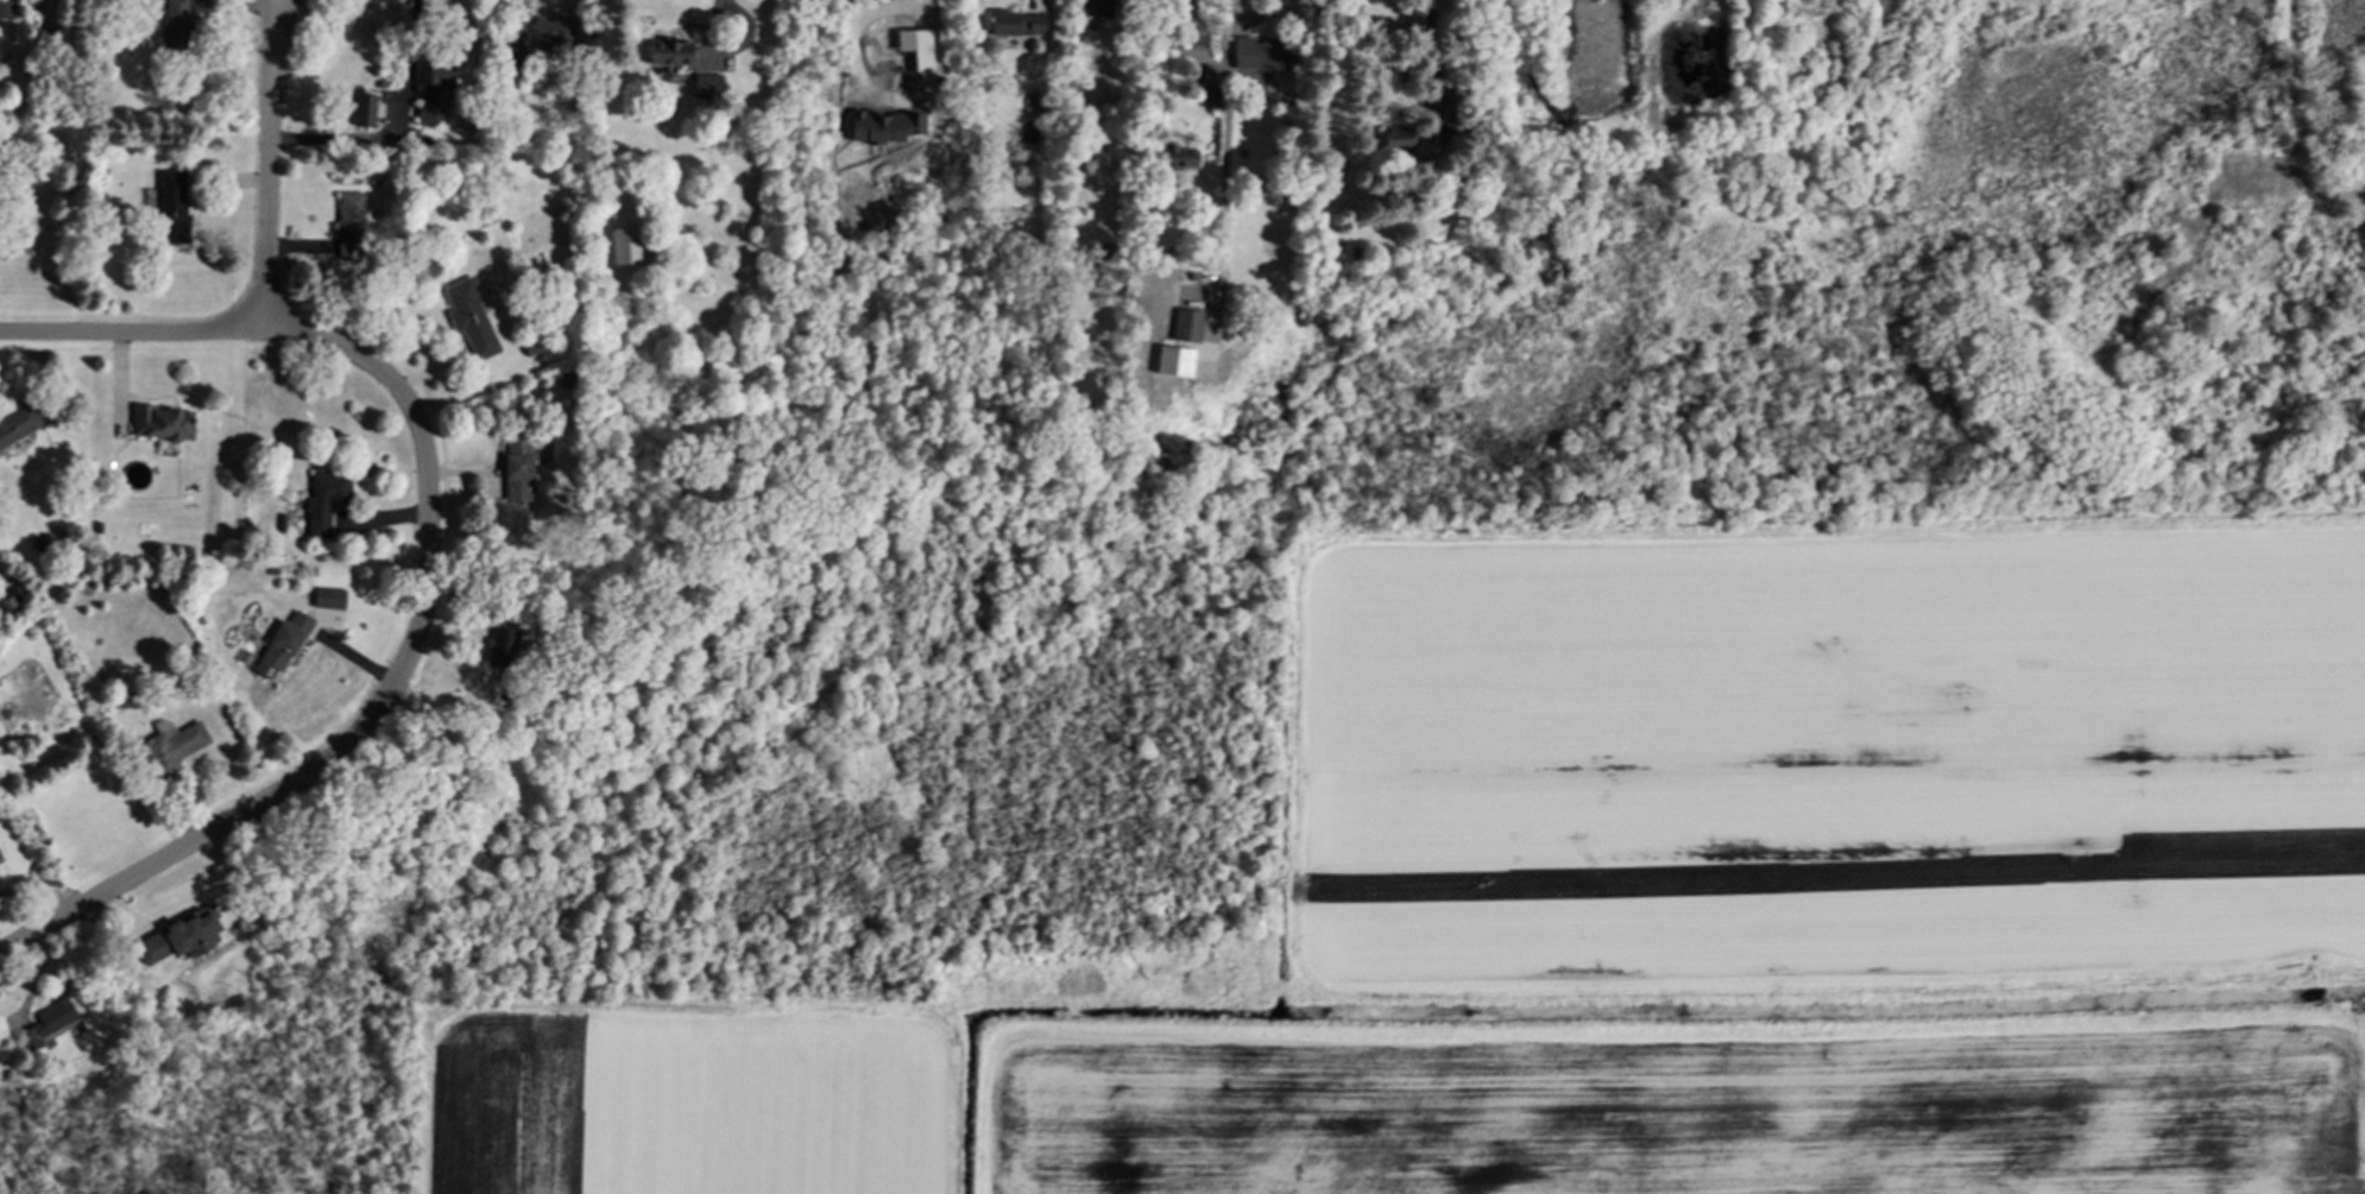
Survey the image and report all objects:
building: (1095, 7)
building: (6, 11)
road: (717, 13)
building: (1014, 23)
building: (176, 24)
road: (1238, 26)
building: (545, 34)
road: (270, 36)
road: (282, 36)
building: (669, 51)
road: (1432, 51)
building: (1261, 53)
building: (515, 56)
building: (434, 84)
building: (708, 84)
building: (1207, 96)
building: (364, 109)
building: (884, 126)
road: (1228, 131)
building: (1444, 132)
road: (334, 139)
building: (1396, 140)
building: (1177, 160)
road: (265, 197)
building: (172, 206)
building: (349, 230)
building: (624, 245)
building: (469, 316)
building: (1186, 324)
road: (132, 335)
building: (160, 422)
building: (18, 425)
road: (424, 454)
building: (521, 466)
building: (324, 503)
building: (329, 598)
building: (280, 645)
building: (502, 646)
building: (172, 745)
road: (216, 830)
building: (0, 859)
crop: (1632, 904)
building: (179, 936)
building: (48, 1024)

